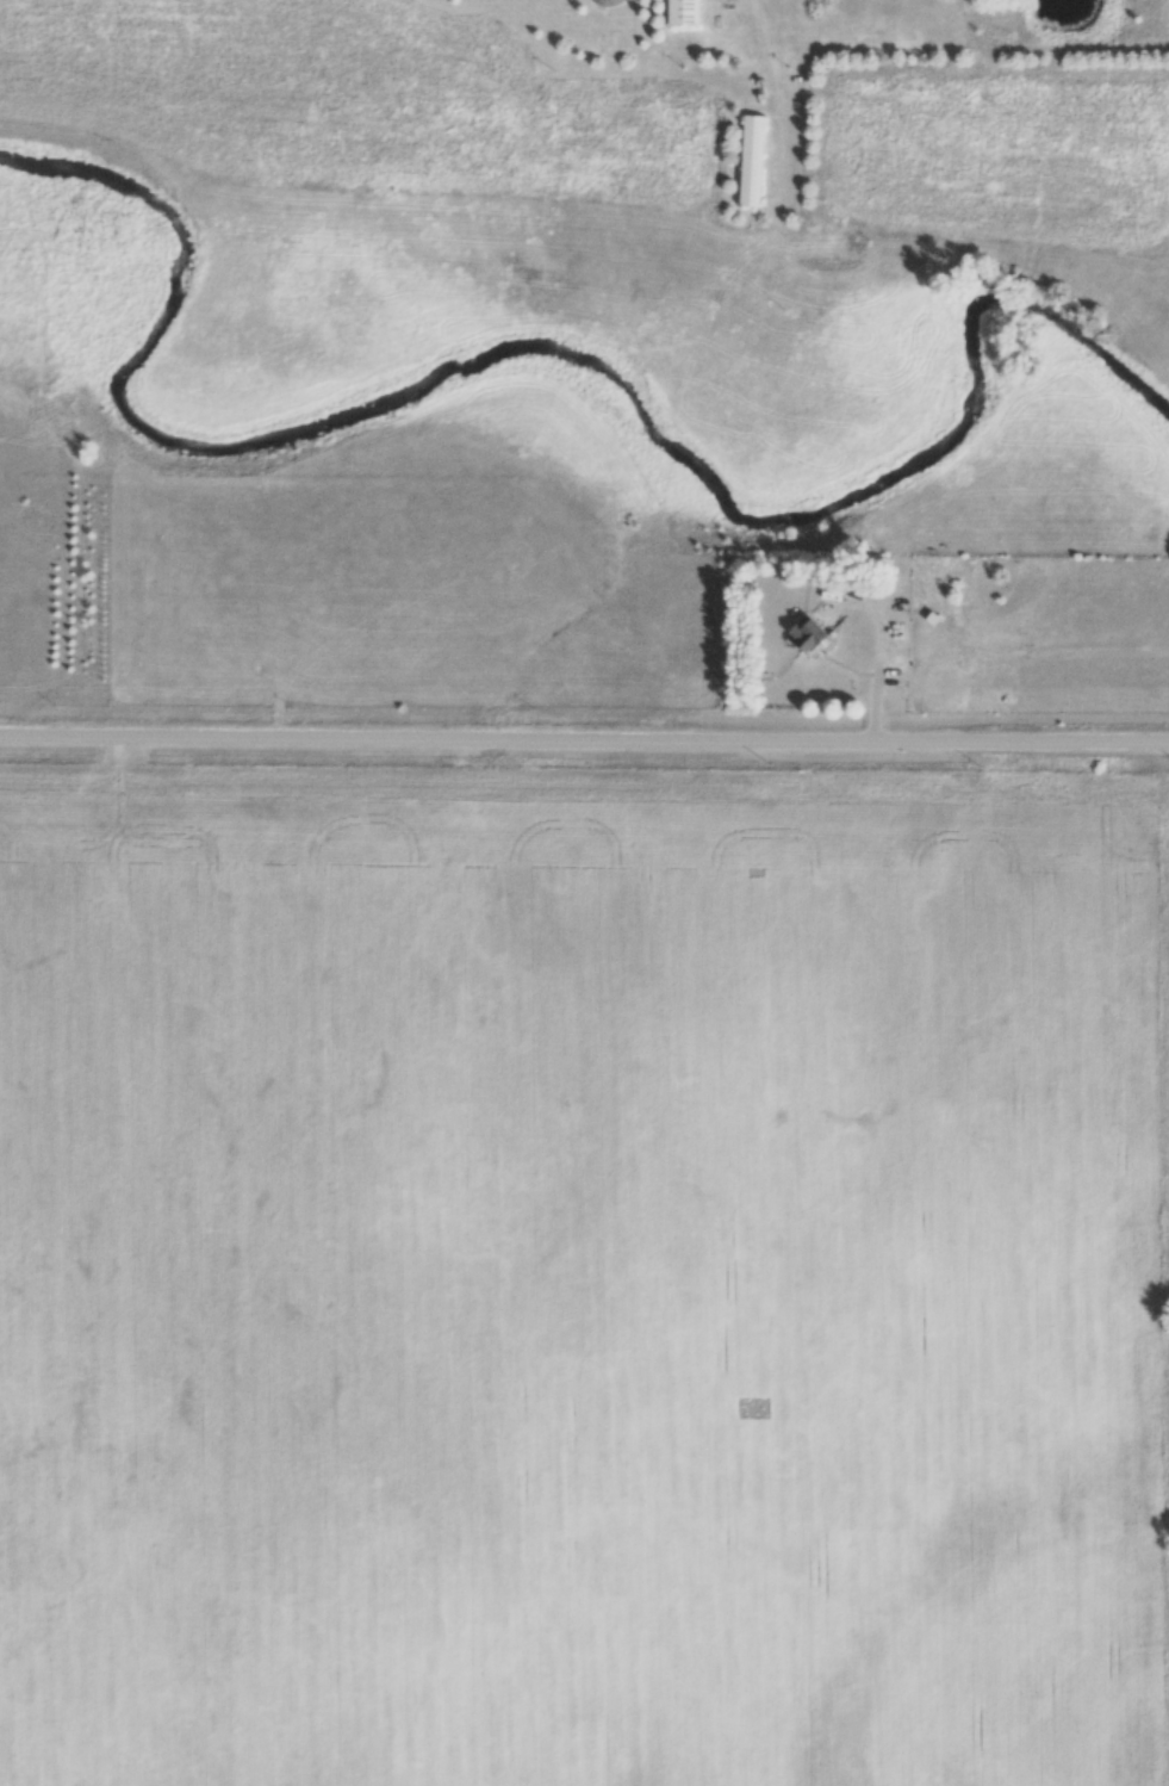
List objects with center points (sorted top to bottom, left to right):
building: (609, 2)
building: (684, 13)
building: (752, 162)
building: (809, 635)
road: (873, 646)
road: (584, 740)

